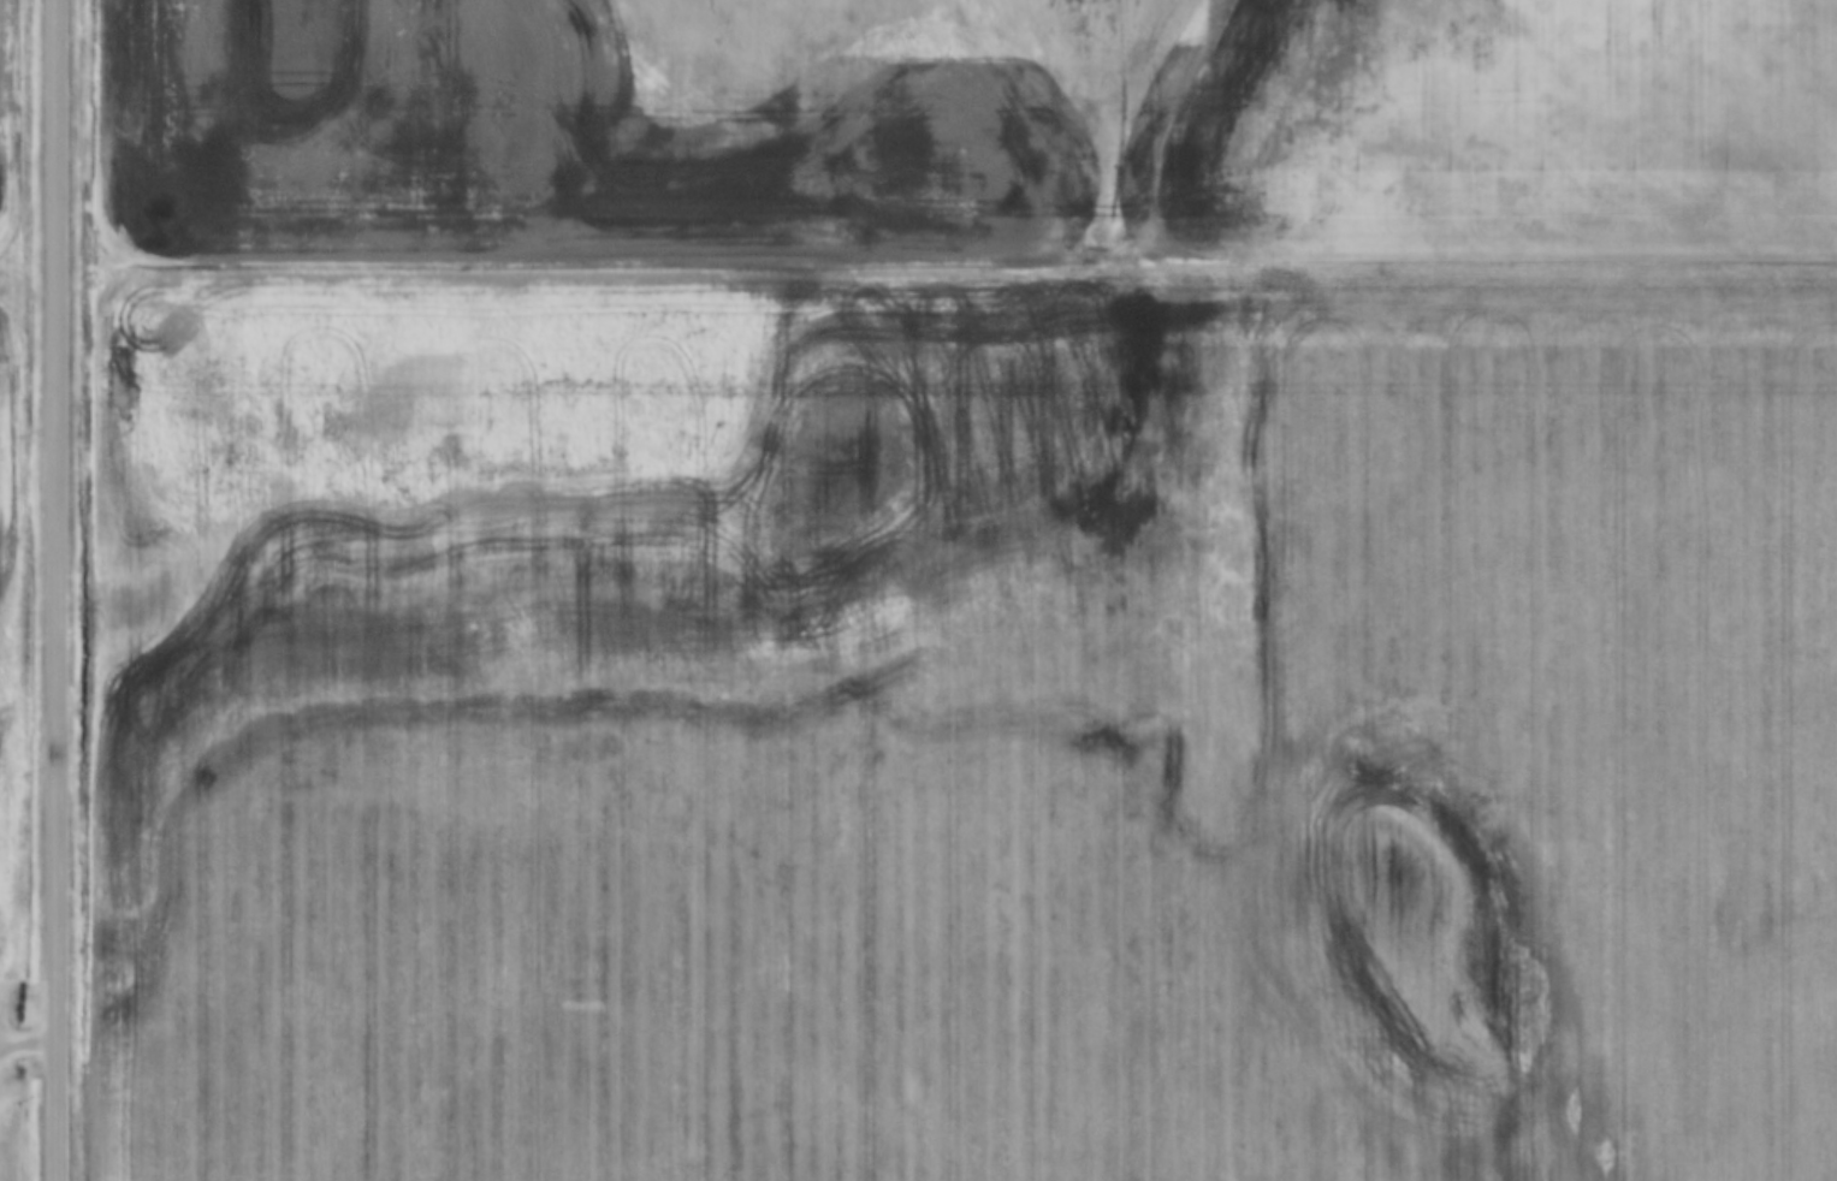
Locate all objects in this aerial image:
road: (57, 590)
road: (28, 1041)

